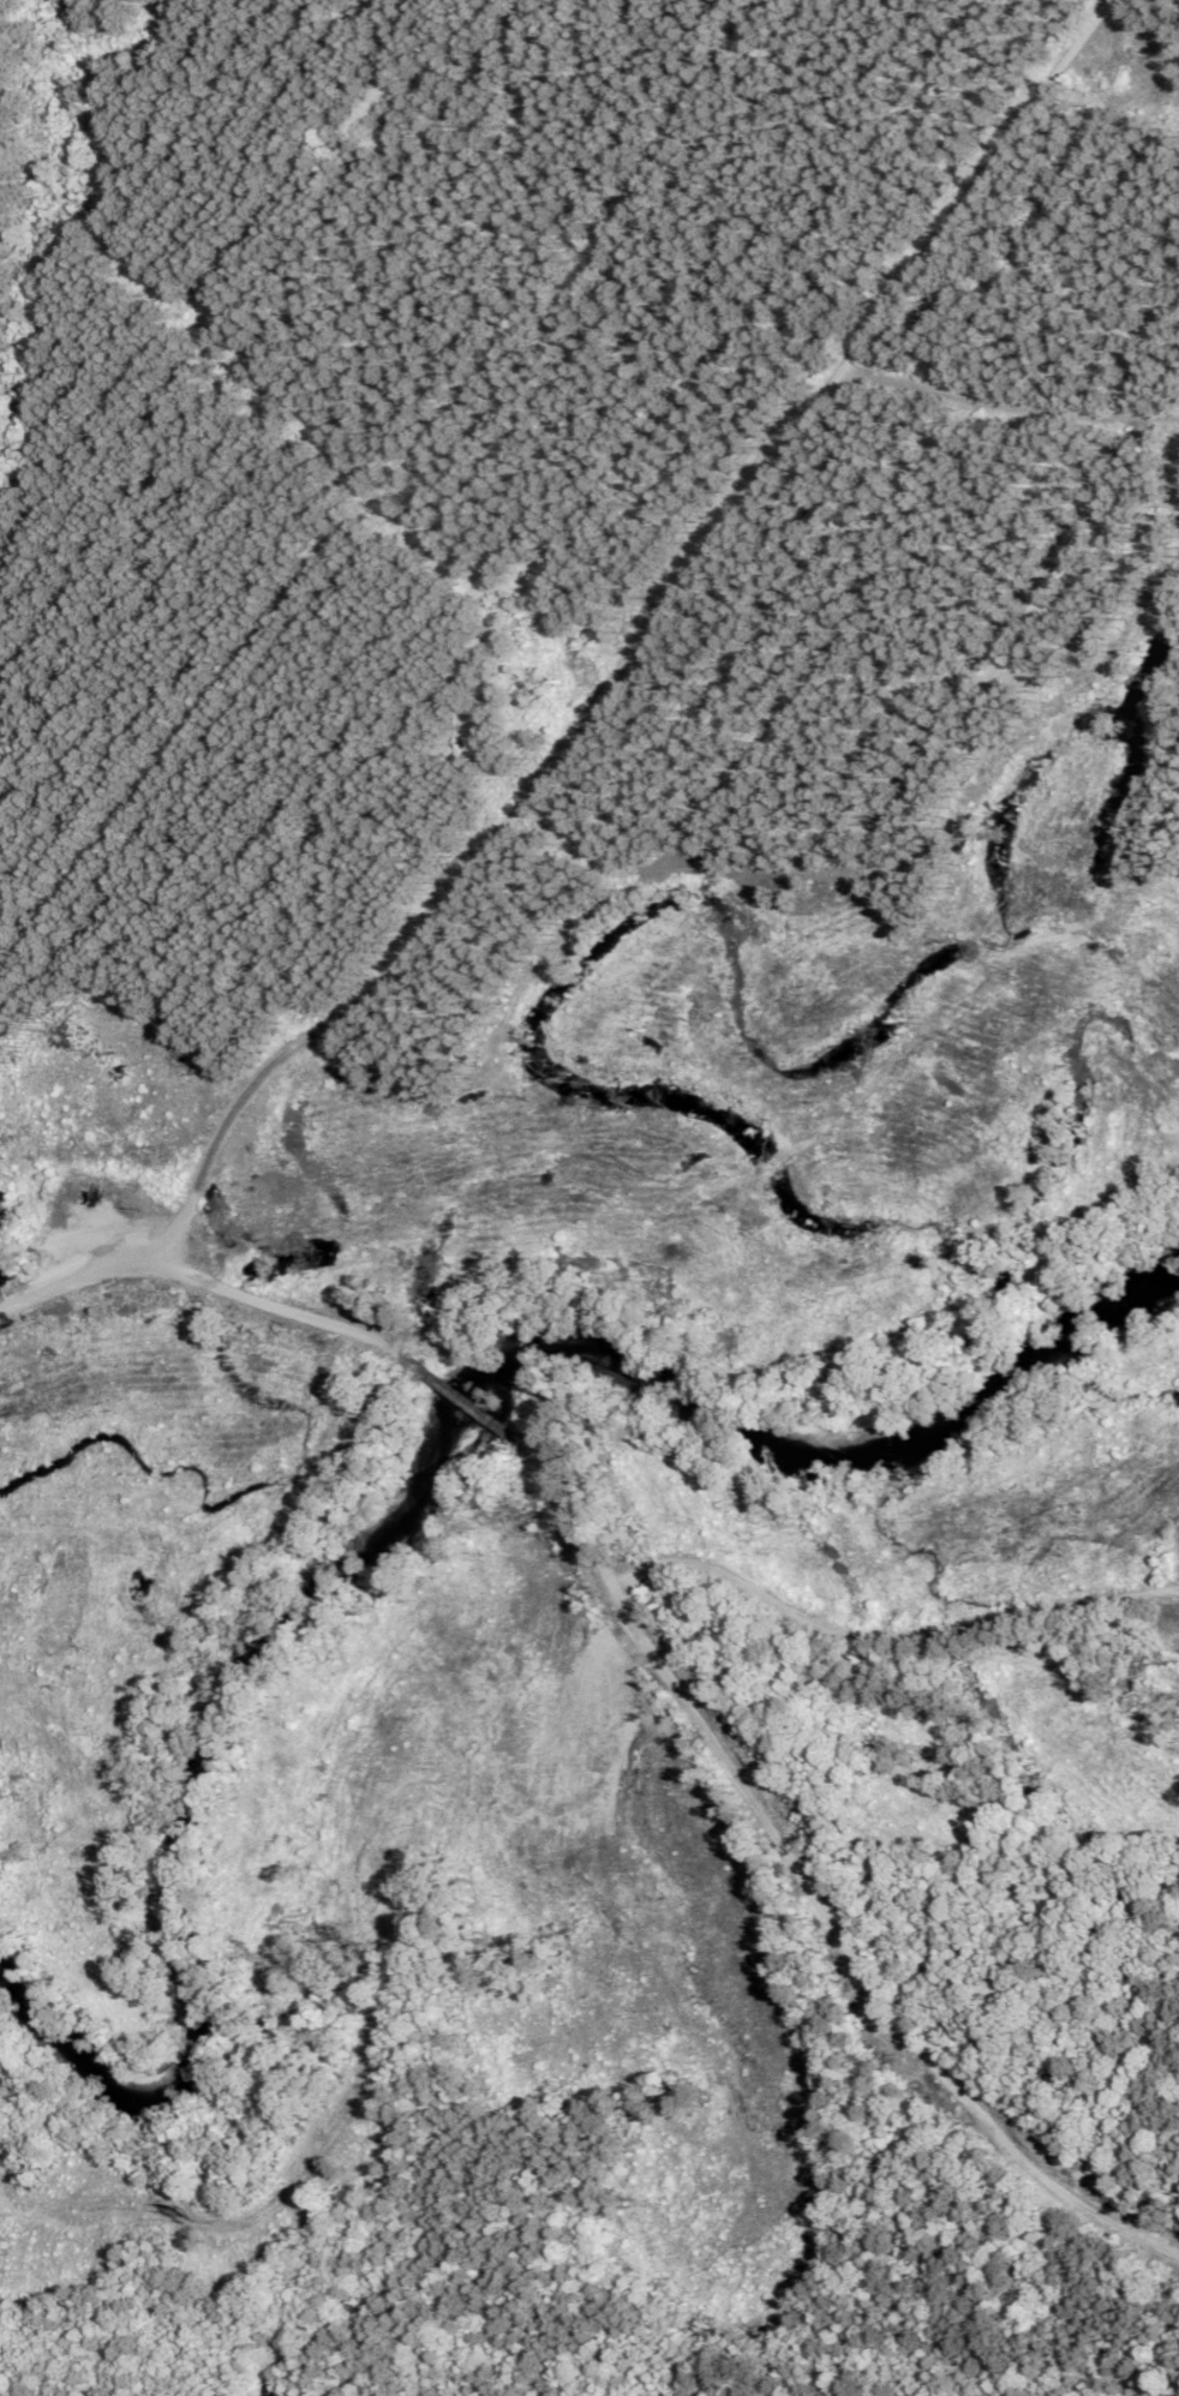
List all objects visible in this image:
road: (1015, 383)
road: (633, 652)
petroleum well: (89, 1198)
road: (202, 1284)
road: (462, 1403)
river: (429, 1486)
road: (886, 1637)
road: (807, 1893)

